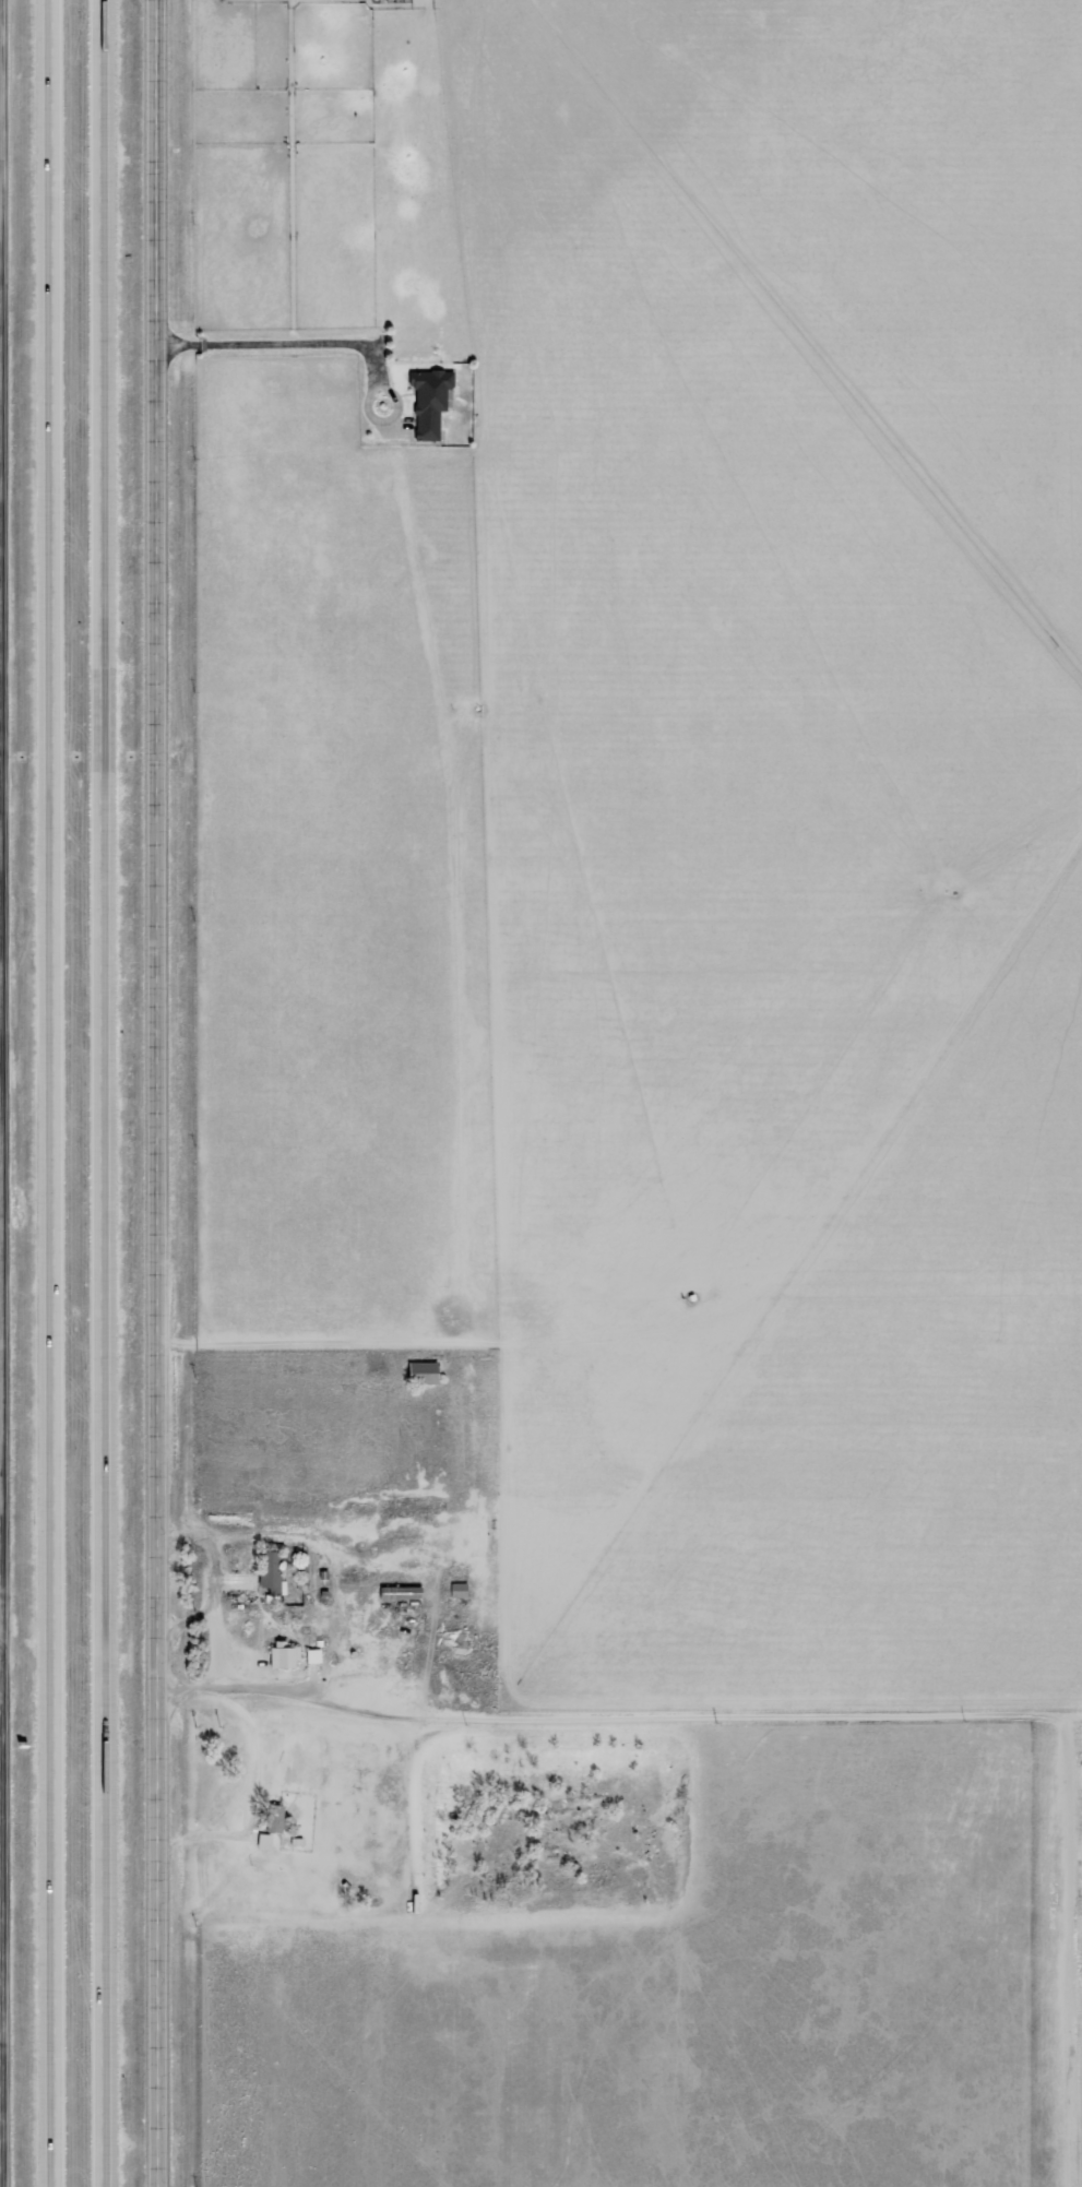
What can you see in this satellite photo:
road: (319, 344)
road: (7, 1093)
road: (60, 1093)
road: (116, 1093)
road: (171, 1093)
building: (273, 1574)
building: (286, 1660)
road: (4, 1674)
road: (627, 1708)

